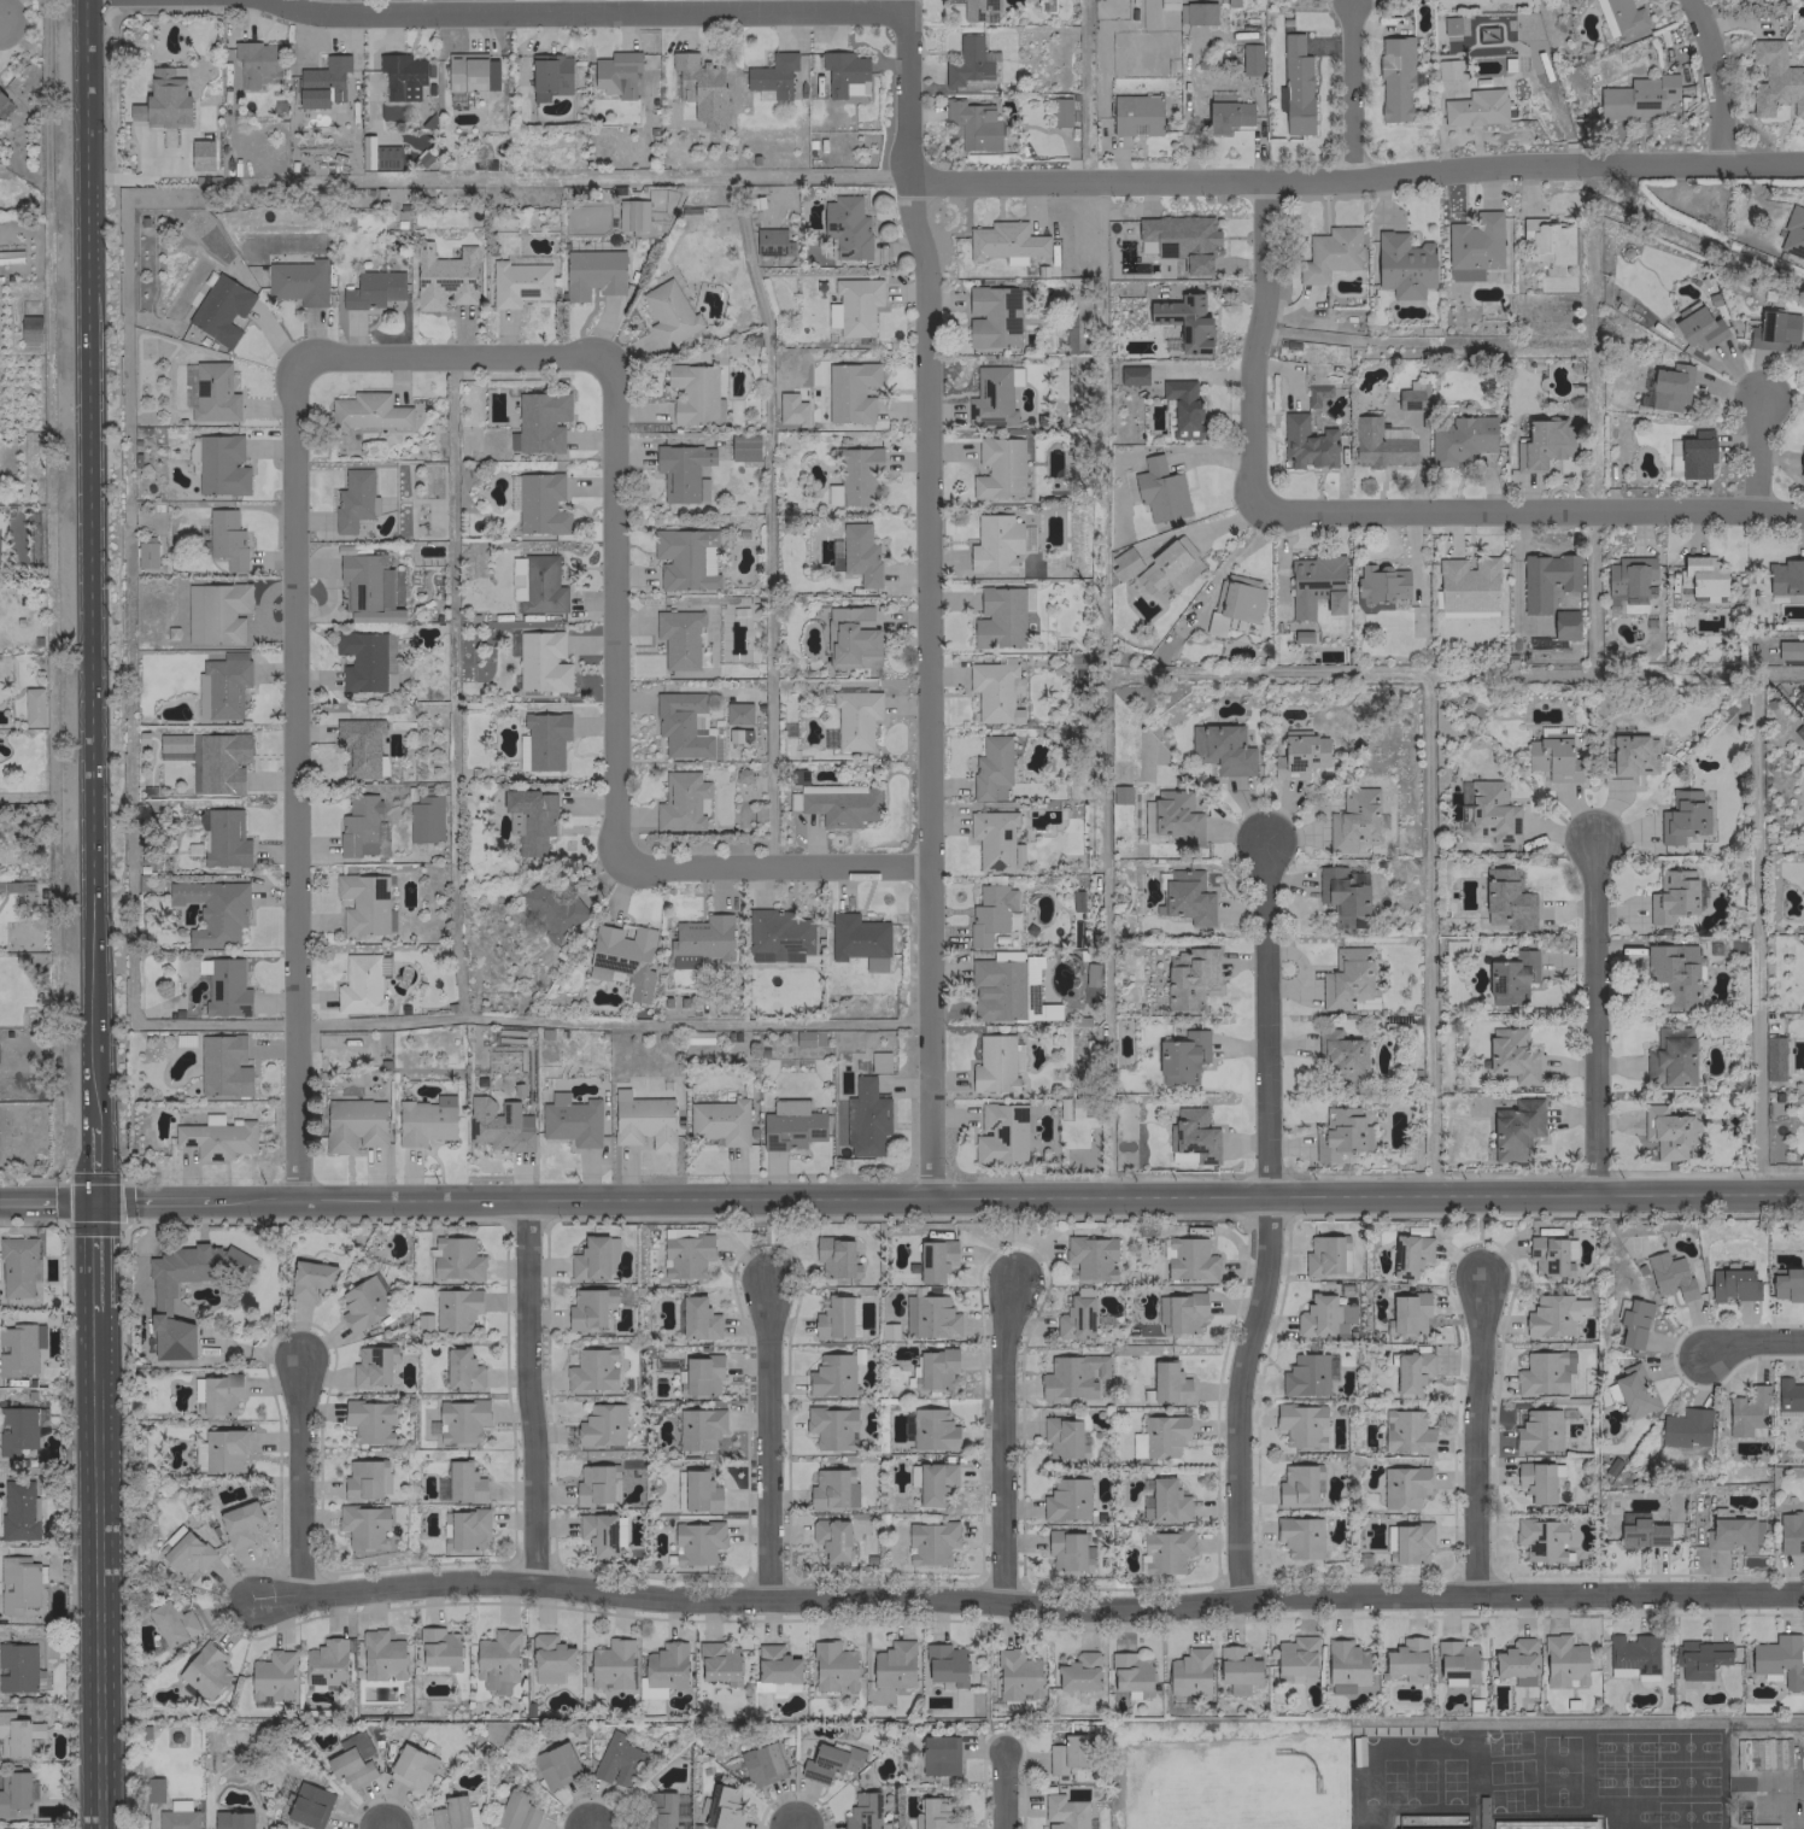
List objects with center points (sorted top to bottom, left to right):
road: (576, 5)
building: (977, 10)
road: (588, 11)
building: (1196, 12)
building: (1618, 16)
building: (1249, 59)
building: (968, 61)
building: (257, 63)
building: (1446, 69)
building: (470, 72)
building: (615, 72)
building: (844, 74)
building: (402, 76)
building: (550, 76)
building: (771, 76)
building: (1395, 77)
road: (1715, 78)
building: (1775, 78)
building: (322, 81)
building: (1295, 86)
building: (701, 88)
road: (1349, 88)
building: (1, 98)
building: (1636, 98)
building: (164, 99)
building: (1475, 107)
building: (1059, 112)
building: (1225, 112)
building: (1135, 115)
building: (973, 124)
building: (377, 154)
road: (1355, 176)
building: (632, 215)
building: (845, 227)
building: (1793, 233)
building: (1181, 239)
building: (772, 241)
building: (1004, 241)
building: (1548, 242)
building: (1474, 245)
building: (1329, 253)
building: (1402, 265)
building: (592, 272)
building: (444, 276)
building: (298, 281)
building: (517, 282)
building: (373, 289)
building: (856, 304)
building: (219, 309)
building: (668, 313)
building: (832, 315)
building: (991, 316)
building: (1184, 321)
building: (1697, 326)
building: (29, 328)
building: (1773, 330)
building: (1068, 333)
road: (1253, 344)
road: (452, 354)
building: (1132, 375)
building: (1669, 387)
building: (850, 391)
building: (212, 392)
building: (693, 394)
building: (1316, 394)
building: (992, 395)
building: (1410, 395)
building: (1183, 408)
building: (368, 411)
building: (539, 422)
building: (1460, 439)
building: (1306, 442)
building: (1382, 442)
building: (1544, 444)
building: (743, 447)
road: (1753, 453)
building: (1689, 455)
building: (1800, 462)
building: (221, 464)
building: (998, 468)
building: (680, 470)
building: (854, 476)
building: (1158, 490)
building: (352, 499)
building: (540, 504)
road: (1529, 509)
building: (225, 538)
building: (1026, 538)
building: (994, 543)
building: (145, 553)
building: (859, 553)
building: (685, 558)
building: (1124, 563)
road: (89, 564)
building: (1172, 564)
building: (516, 565)
building: (1700, 578)
building: (1546, 579)
building: (1627, 580)
building: (1785, 580)
building: (1314, 584)
building: (1466, 584)
building: (541, 585)
building: (363, 586)
building: (1380, 586)
road: (927, 597)
building: (1238, 597)
road: (614, 611)
building: (1564, 625)
building: (1218, 626)
building: (850, 637)
building: (683, 640)
building: (1790, 649)
building: (365, 661)
building: (541, 662)
building: (221, 685)
building: (994, 691)
building: (33, 707)
building: (737, 713)
building: (855, 717)
building: (683, 725)
building: (545, 739)
building: (174, 743)
building: (358, 745)
building: (1220, 749)
building: (1299, 754)
building: (174, 755)
building: (1552, 756)
building: (1629, 757)
building: (221, 762)
building: (990, 766)
road: (293, 779)
building: (1119, 793)
building: (680, 801)
building: (839, 803)
building: (1492, 811)
building: (1175, 816)
building: (1680, 816)
building: (532, 817)
building: (424, 819)
building: (1353, 820)
building: (358, 826)
building: (224, 838)
building: (995, 839)
road: (773, 863)
building: (1343, 895)
building: (1671, 896)
building: (1185, 897)
building: (1506, 899)
building: (1076, 901)
building: (364, 903)
building: (551, 908)
building: (212, 910)
building: (989, 913)
building: (777, 936)
building: (859, 939)
building: (701, 940)
building: (622, 959)
building: (1674, 973)
building: (1188, 975)
building: (1509, 975)
building: (1346, 978)
building: (359, 984)
building: (225, 987)
building: (1004, 989)
road: (1592, 1018)
building: (802, 1038)
building: (1339, 1054)
building: (1511, 1054)
building: (1182, 1056)
building: (1670, 1057)
building: (878, 1061)
building: (995, 1063)
building: (223, 1065)
building: (865, 1118)
building: (424, 1120)
building: (570, 1120)
building: (643, 1121)
building: (719, 1121)
building: (494, 1122)
building: (352, 1124)
building: (790, 1125)
building: (1515, 1129)
building: (1664, 1131)
building: (1000, 1133)
building: (1337, 1133)
building: (1191, 1135)
building: (216, 1137)
road: (95, 1165)
road: (949, 1197)
road: (47, 1201)
road: (1269, 1220)
building: (1803, 1249)
road: (95, 1254)
building: (833, 1255)
building: (1323, 1255)
building: (1408, 1255)
building: (1090, 1256)
building: (456, 1259)
building: (590, 1259)
building: (935, 1259)
building: (1190, 1260)
building: (18, 1266)
building: (1669, 1274)
building: (310, 1279)
building: (1786, 1283)
building: (1732, 1284)
building: (160, 1299)
building: (364, 1303)
building: (455, 1308)
building: (586, 1309)
building: (1179, 1313)
building: (1347, 1313)
building: (1407, 1313)
building: (1076, 1314)
building: (1552, 1314)
building: (1316, 1315)
building: (929, 1317)
building: (697, 1318)
building: (833, 1318)
building: (1633, 1324)
road: (1752, 1341)
building: (19, 1348)
building: (370, 1366)
building: (935, 1368)
building: (461, 1370)
building: (591, 1370)
building: (1411, 1372)
building: (1542, 1372)
building: (831, 1374)
building: (1307, 1374)
building: (699, 1376)
building: (1072, 1376)
building: (1168, 1383)
building: (1633, 1390)
road: (528, 1393)
building: (218, 1394)
building: (1790, 1395)
building: (1747, 1413)
building: (368, 1420)
building: (461, 1420)
building: (1301, 1424)
building: (601, 1425)
building: (698, 1428)
building: (831, 1428)
building: (1685, 1428)
building: (19, 1429)
building: (932, 1430)
building: (1537, 1430)
building: (1406, 1432)
building: (1164, 1435)
building: (1062, 1437)
road: (1476, 1437)
road: (765, 1440)
road: (1003, 1441)
building: (224, 1448)
road: (298, 1479)
building: (362, 1479)
building: (463, 1482)
building: (933, 1482)
building: (1535, 1482)
building: (1296, 1484)
building: (1402, 1487)
building: (828, 1488)
building: (695, 1491)
building: (1066, 1499)
building: (1166, 1500)
building: (239, 1523)
building: (363, 1525)
building: (468, 1528)
building: (1640, 1531)
building: (1730, 1531)
building: (598, 1532)
building: (1791, 1532)
building: (1299, 1536)
building: (831, 1538)
building: (1540, 1538)
building: (1411, 1541)
building: (697, 1542)
building: (931, 1542)
building: (1389, 1543)
building: (1066, 1550)
building: (1165, 1550)
building: (186, 1554)
road: (96, 1569)
building: (17, 1583)
road: (1031, 1605)
building: (171, 1622)
building: (439, 1648)
building: (550, 1653)
building: (1632, 1654)
building: (1295, 1655)
building: (381, 1657)
building: (1405, 1657)
building: (1699, 1658)
building: (496, 1660)
building: (716, 1660)
building: (1516, 1660)
building: (1563, 1660)
building: (1777, 1660)
building: (324, 1663)
building: (944, 1663)
building: (1455, 1663)
building: (610, 1664)
building: (775, 1664)
building: (664, 1665)
building: (892, 1665)
building: (1345, 1665)
building: (832, 1666)
building: (19, 1667)
building: (1236, 1669)
building: (204, 1671)
building: (1129, 1671)
building: (1189, 1671)
building: (1079, 1672)
building: (1017, 1675)
building: (271, 1676)
building: (546, 1676)
building: (769, 1688)
building: (13, 1735)
building: (355, 1745)
building: (1066, 1753)
building: (768, 1758)
building: (616, 1760)
building: (828, 1761)
building: (553, 1765)
building: (411, 1766)
building: (348, 1768)
road: (1002, 1789)
building: (13, 1793)
building: (309, 1805)
building: (722, 1807)
building: (658, 1810)
building: (516, 1811)
building: (862, 1811)
building: (1064, 1812)
building: (450, 1813)
building: (933, 1813)
building: (176, 1819)
building: (232, 1821)
building: (1542, 1824)
road: (792, 1827)
building: (35, 1828)
road: (387, 1828)
building: (1431, 1828)

